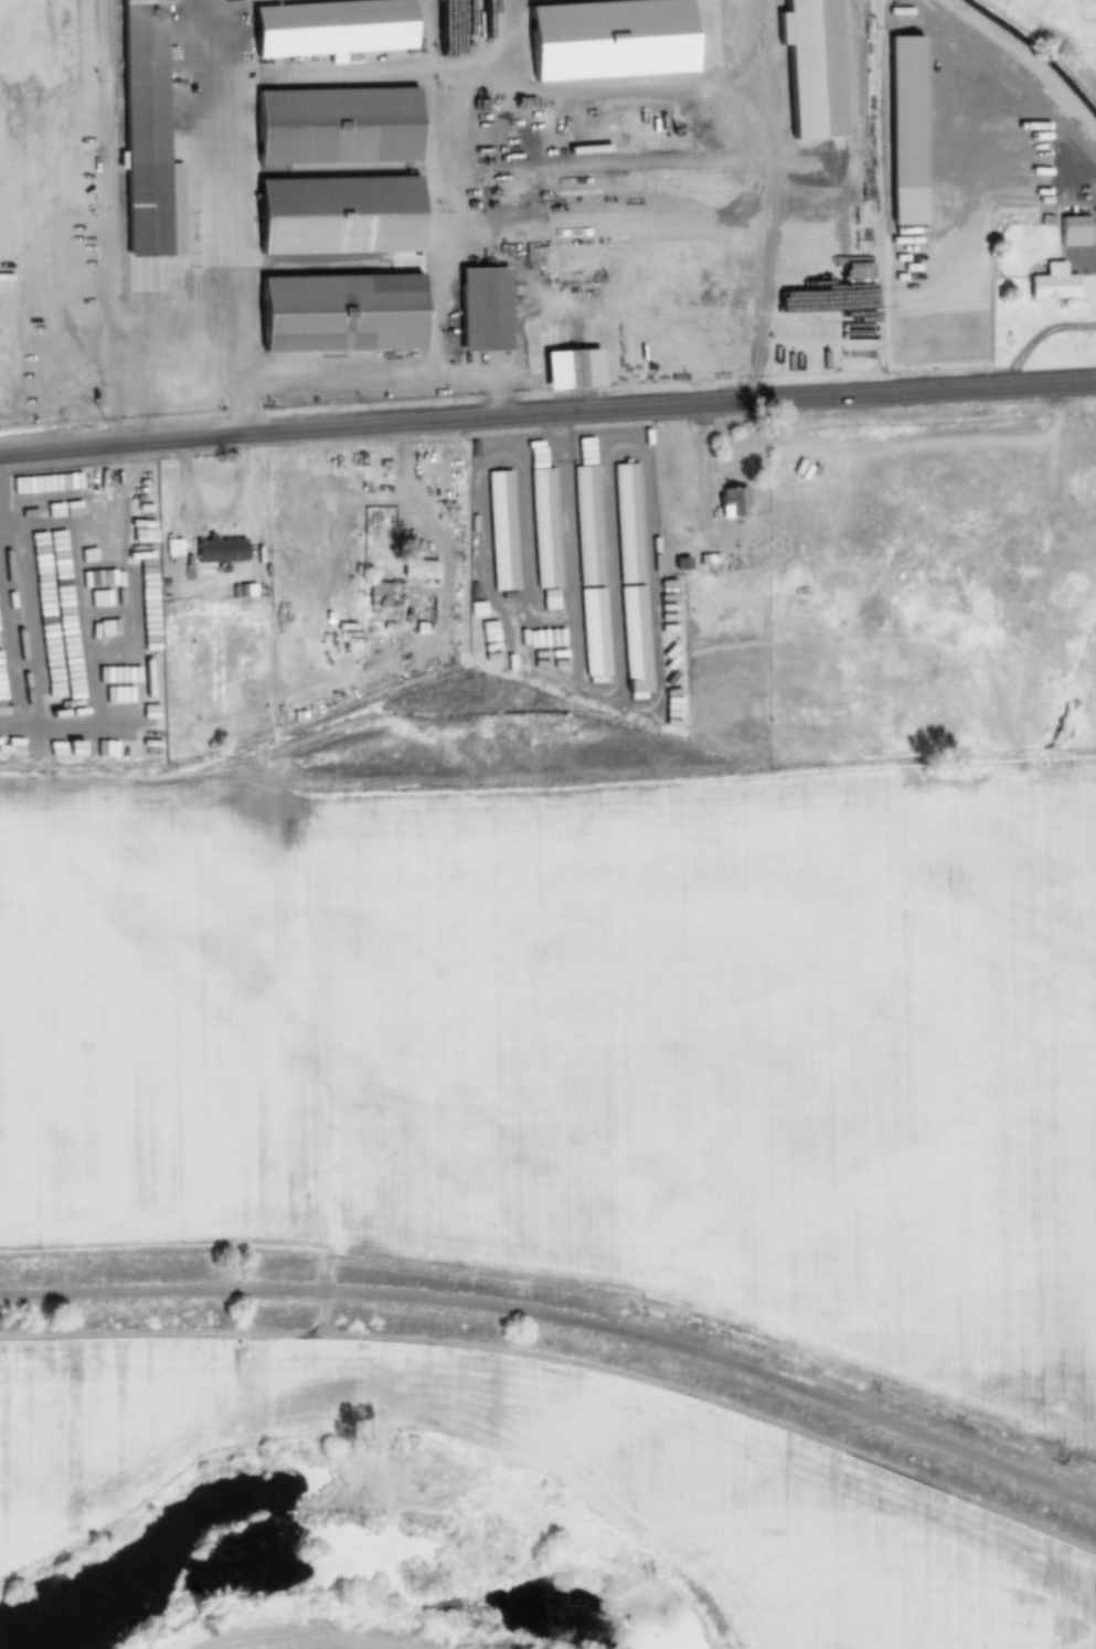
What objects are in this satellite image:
road: (232, 0)
building: (334, 30)
crop: (1058, 32)
road: (476, 33)
building: (609, 40)
road: (742, 61)
building: (816, 67)
road: (358, 71)
road: (726, 88)
road: (1023, 95)
building: (339, 128)
building: (906, 130)
building: (149, 141)
road: (341, 172)
road: (657, 173)
road: (648, 189)
building: (1084, 210)
road: (447, 213)
building: (341, 216)
building: (1046, 221)
building: (574, 222)
building: (1076, 232)
road: (1081, 254)
road: (501, 257)
road: (339, 266)
road: (105, 268)
building: (807, 269)
road: (766, 281)
building: (1053, 283)
building: (486, 310)
building: (343, 312)
road: (1036, 339)
building: (545, 342)
road: (161, 353)
road: (594, 366)
building: (568, 371)
road: (478, 377)
road: (547, 415)
road: (214, 497)
building: (734, 503)
road: (691, 521)
building: (631, 525)
road: (245, 526)
building: (590, 528)
building: (546, 530)
building: (503, 532)
road: (525, 532)
road: (177, 539)
road: (483, 539)
building: (669, 541)
building: (221, 551)
building: (668, 553)
building: (683, 553)
road: (694, 554)
road: (447, 558)
building: (710, 560)
building: (683, 565)
building: (189, 570)
building: (279, 570)
building: (419, 572)
road: (611, 576)
crop: (932, 589)
building: (234, 592)
building: (247, 592)
building: (380, 595)
road: (509, 629)
road: (642, 710)
road: (546, 796)
crop: (590, 1049)
road: (202, 1244)
road: (563, 1323)
road: (564, 1364)
crop: (552, 1483)
crop: (300, 1639)

